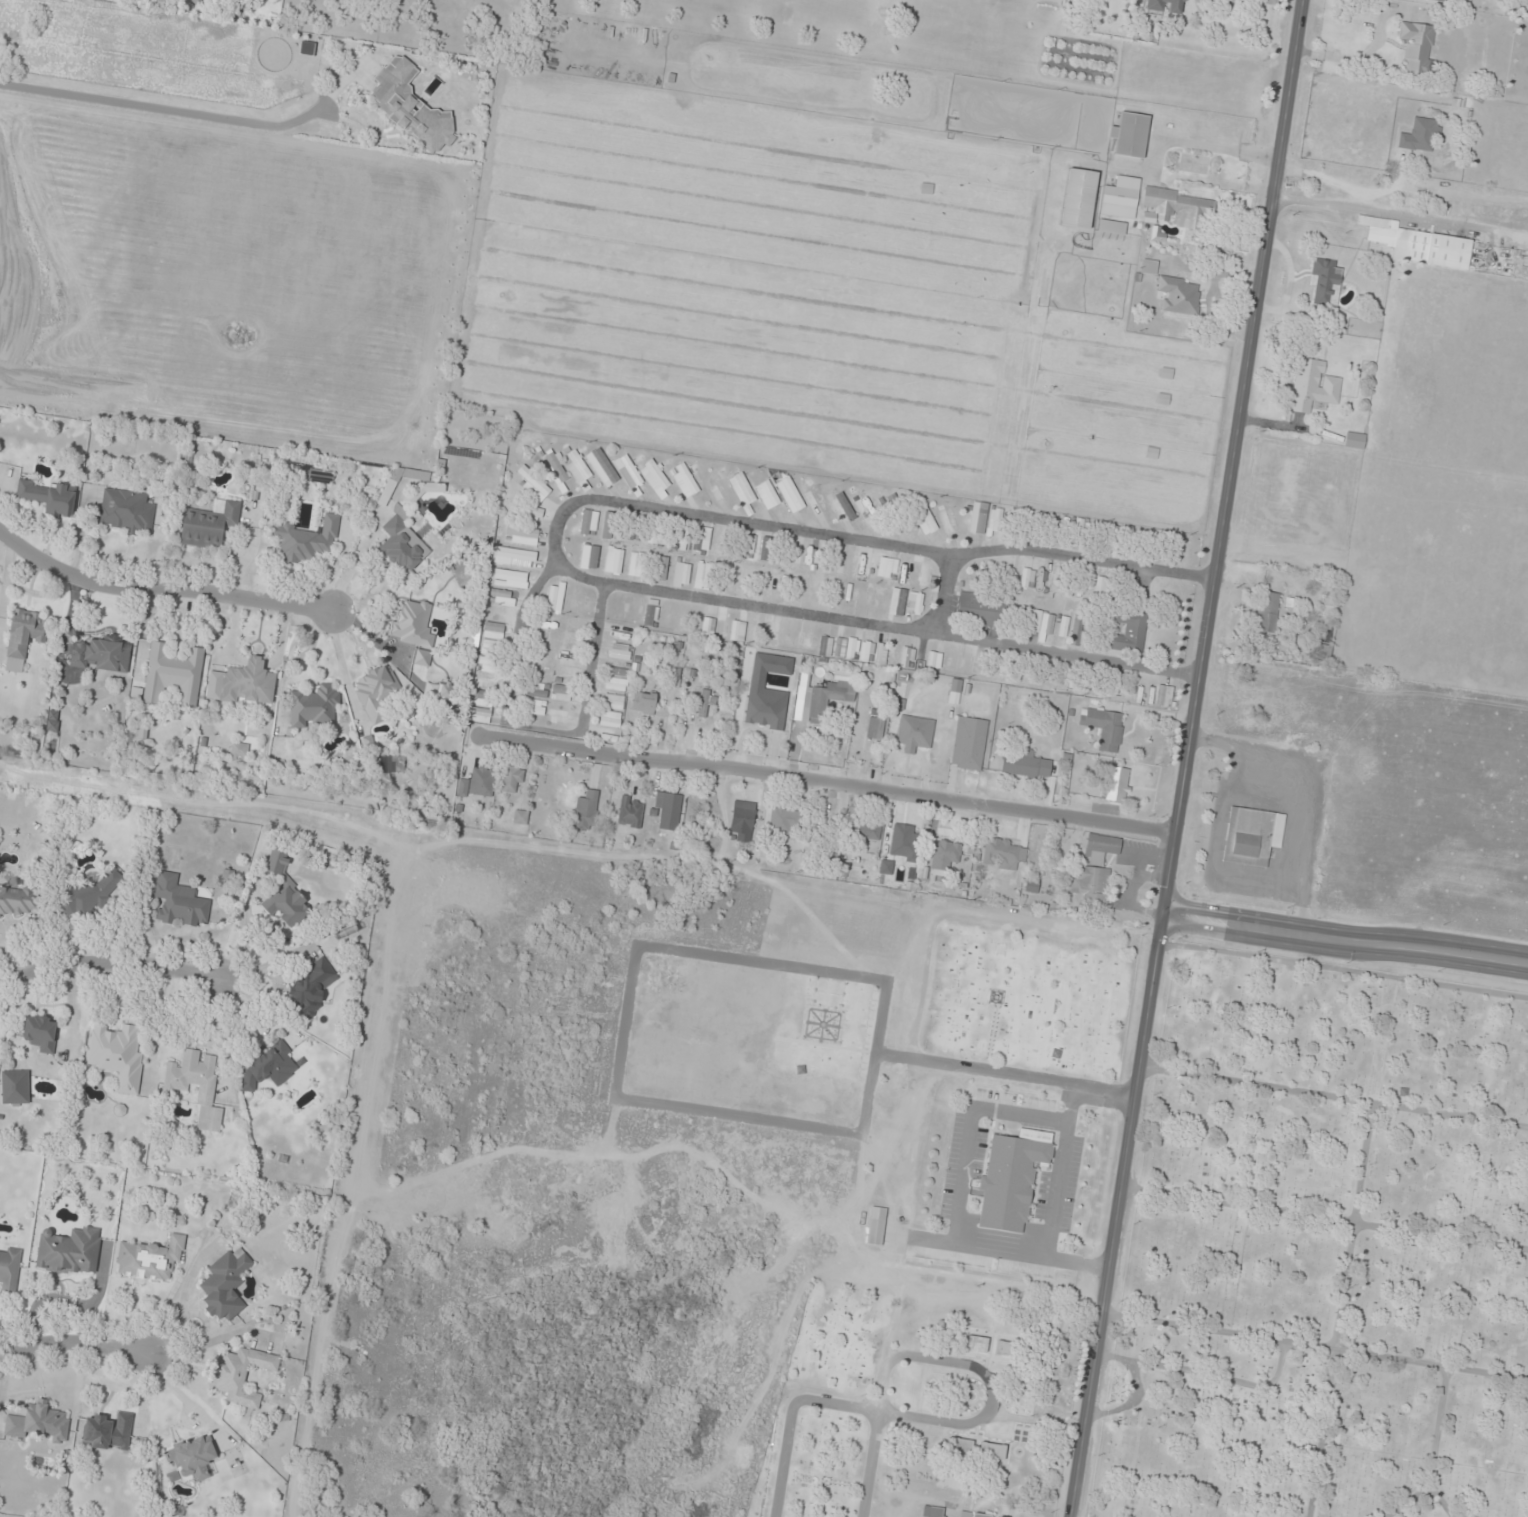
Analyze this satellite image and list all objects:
building: (1443, 1)
building: (1166, 6)
building: (1417, 47)
road: (161, 105)
building: (409, 105)
building: (1130, 135)
building: (1418, 137)
building: (1120, 198)
building: (1078, 199)
building: (1178, 207)
building: (1111, 227)
building: (1417, 244)
building: (1327, 281)
building: (1180, 295)
building: (1313, 386)
building: (1354, 440)
building: (556, 467)
building: (602, 467)
building: (629, 472)
building: (309, 474)
building: (655, 477)
building: (684, 480)
building: (534, 485)
building: (719, 488)
building: (742, 489)
building: (790, 494)
building: (767, 495)
building: (49, 497)
building: (816, 499)
building: (840, 504)
building: (866, 507)
building: (894, 508)
building: (125, 511)
building: (526, 512)
building: (978, 517)
building: (924, 518)
building: (996, 519)
building: (948, 520)
building: (589, 522)
building: (209, 524)
building: (608, 525)
building: (633, 530)
building: (652, 534)
building: (521, 536)
building: (679, 537)
building: (701, 538)
road: (858, 538)
building: (306, 540)
building: (400, 544)
building: (767, 547)
building: (744, 548)
building: (795, 552)
building: (589, 556)
building: (516, 558)
building: (614, 560)
building: (637, 564)
building: (663, 568)
building: (920, 572)
building: (681, 574)
building: (703, 575)
building: (510, 578)
building: (1027, 578)
building: (761, 582)
building: (1100, 586)
road: (163, 588)
road: (947, 592)
building: (502, 597)
building: (556, 597)
building: (898, 601)
building: (583, 603)
building: (916, 603)
building: (1329, 606)
building: (979, 609)
building: (1267, 611)
building: (651, 613)
road: (876, 622)
building: (1048, 624)
building: (708, 627)
building: (1077, 630)
building: (737, 631)
building: (771, 632)
building: (1130, 632)
building: (754, 633)
building: (23, 636)
building: (492, 638)
building: (475, 640)
building: (845, 648)
building: (620, 651)
building: (867, 651)
building: (1323, 652)
building: (102, 654)
building: (881, 654)
building: (907, 657)
building: (934, 661)
building: (489, 665)
building: (618, 671)
building: (173, 674)
building: (566, 676)
building: (487, 682)
building: (243, 683)
building: (616, 684)
building: (446, 690)
building: (537, 690)
building: (955, 690)
building: (376, 692)
building: (561, 692)
building: (1164, 695)
building: (483, 698)
building: (828, 698)
building: (613, 701)
building: (644, 701)
building: (706, 702)
building: (313, 706)
building: (536, 707)
building: (764, 714)
building: (479, 715)
building: (560, 716)
building: (611, 719)
building: (53, 720)
building: (875, 727)
building: (1104, 727)
road: (537, 732)
building: (915, 733)
building: (604, 734)
building: (969, 743)
building: (239, 750)
road: (1184, 758)
building: (391, 764)
building: (1025, 765)
building: (512, 779)
building: (479, 782)
road: (827, 784)
building: (1118, 784)
building: (668, 809)
building: (587, 811)
building: (630, 811)
building: (698, 812)
building: (743, 820)
building: (784, 820)
building: (868, 831)
building: (1252, 836)
building: (1101, 849)
building: (946, 850)
building: (1001, 853)
building: (1091, 885)
building: (286, 896)
building: (19, 900)
building: (179, 901)
road: (1344, 941)
road: (110, 961)
building: (312, 987)
building: (41, 1034)
building: (117, 1055)
building: (269, 1069)
building: (197, 1085)
building: (15, 1087)
building: (1004, 1197)
building: (876, 1226)
park: (1177, 1244)
building: (70, 1251)
building: (149, 1259)
building: (9, 1269)
building: (226, 1284)
road: (74, 1342)
building: (977, 1344)
building: (241, 1375)
building: (39, 1422)
building: (108, 1432)
building: (977, 1448)
building: (192, 1458)
building: (932, 1511)
building: (972, 1515)

